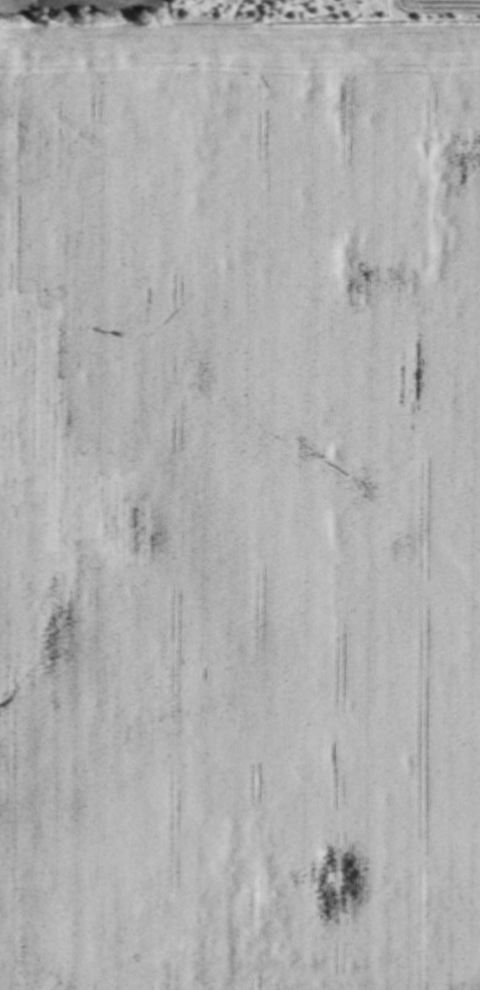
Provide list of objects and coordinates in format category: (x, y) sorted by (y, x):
crop: (240, 502)

